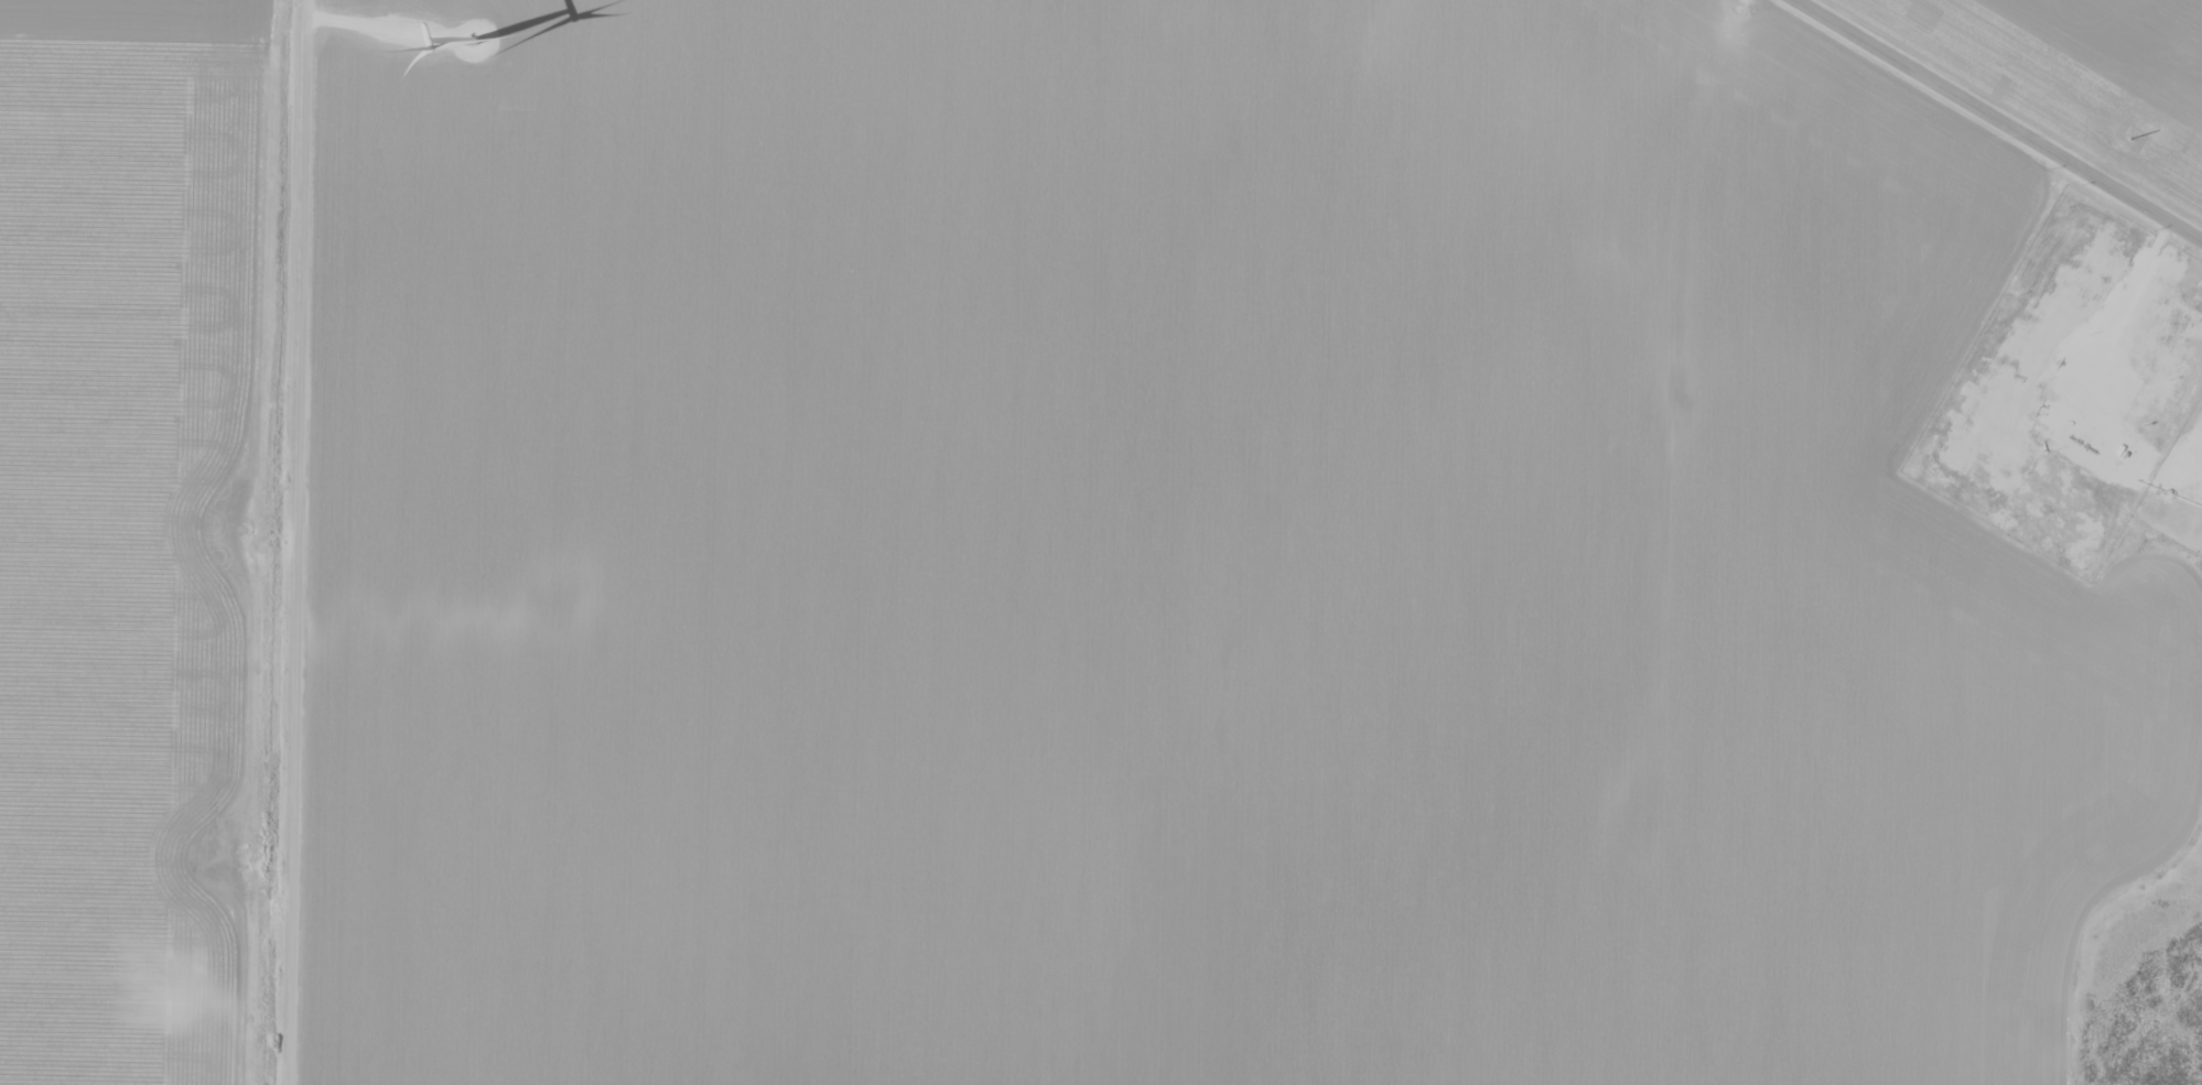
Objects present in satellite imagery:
road: (373, 29)
wind turbine: (487, 47)
road: (1995, 121)
power tower: (2127, 137)
road: (293, 542)

